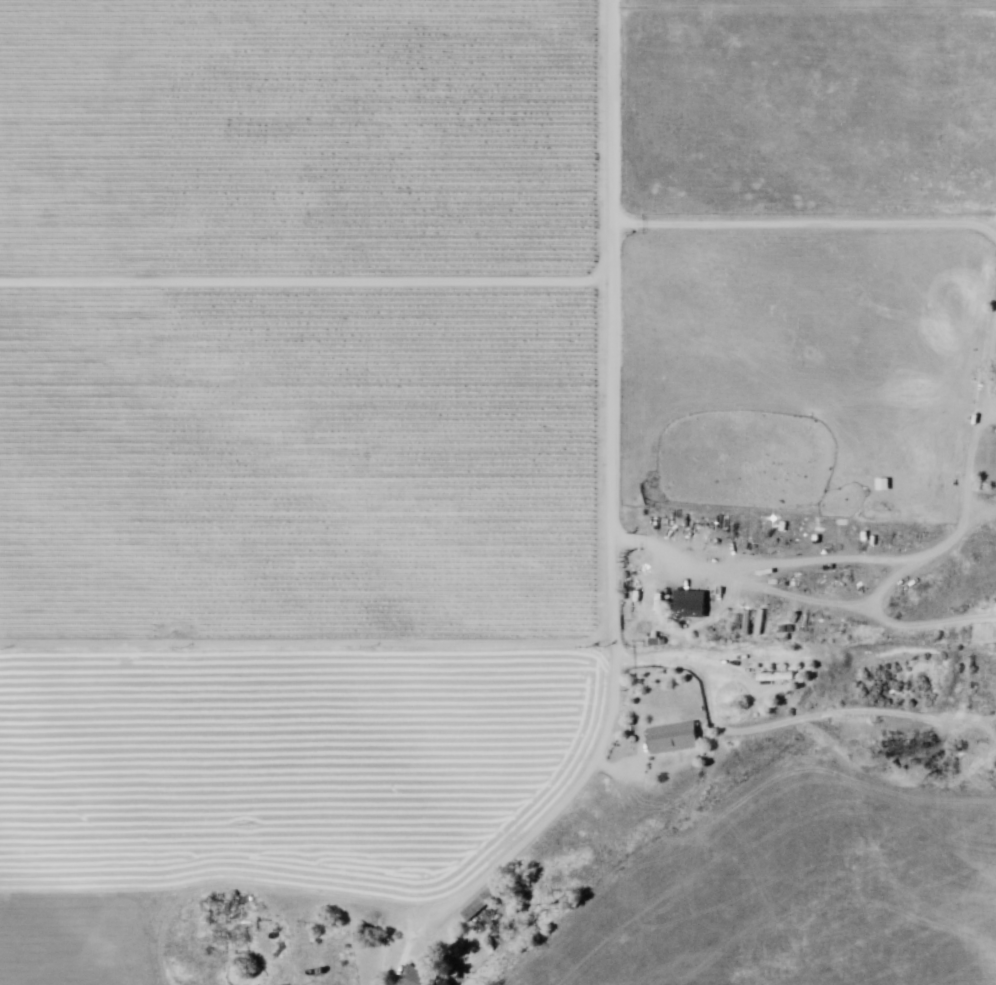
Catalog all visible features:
road: (609, 110)
crop: (146, 128)
road: (803, 223)
crop: (305, 469)
building: (693, 605)
road: (612, 625)
building: (676, 739)
building: (484, 903)
building: (420, 977)

